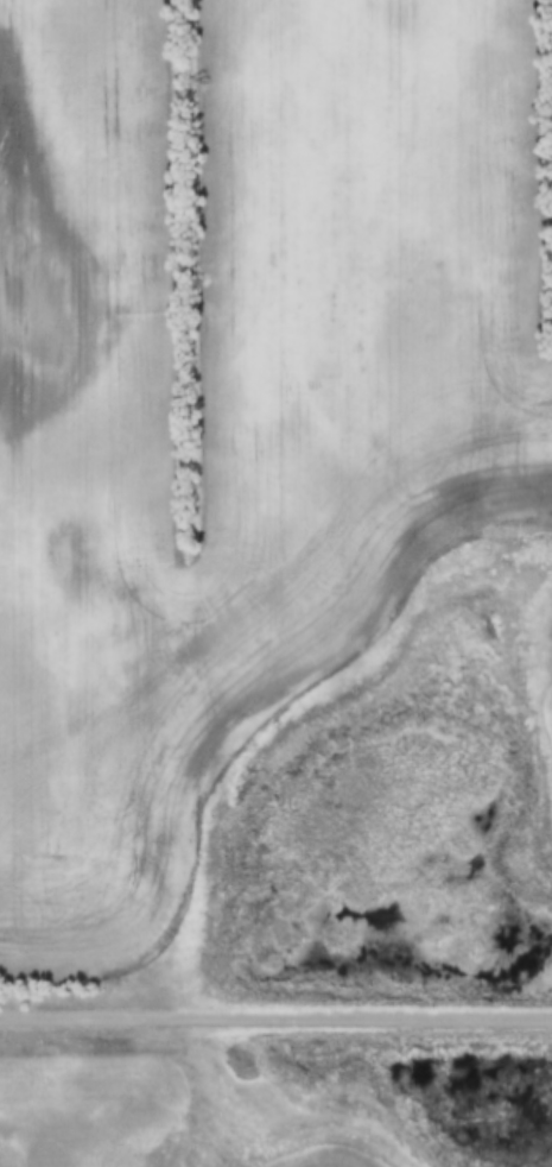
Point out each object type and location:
road: (275, 1017)

